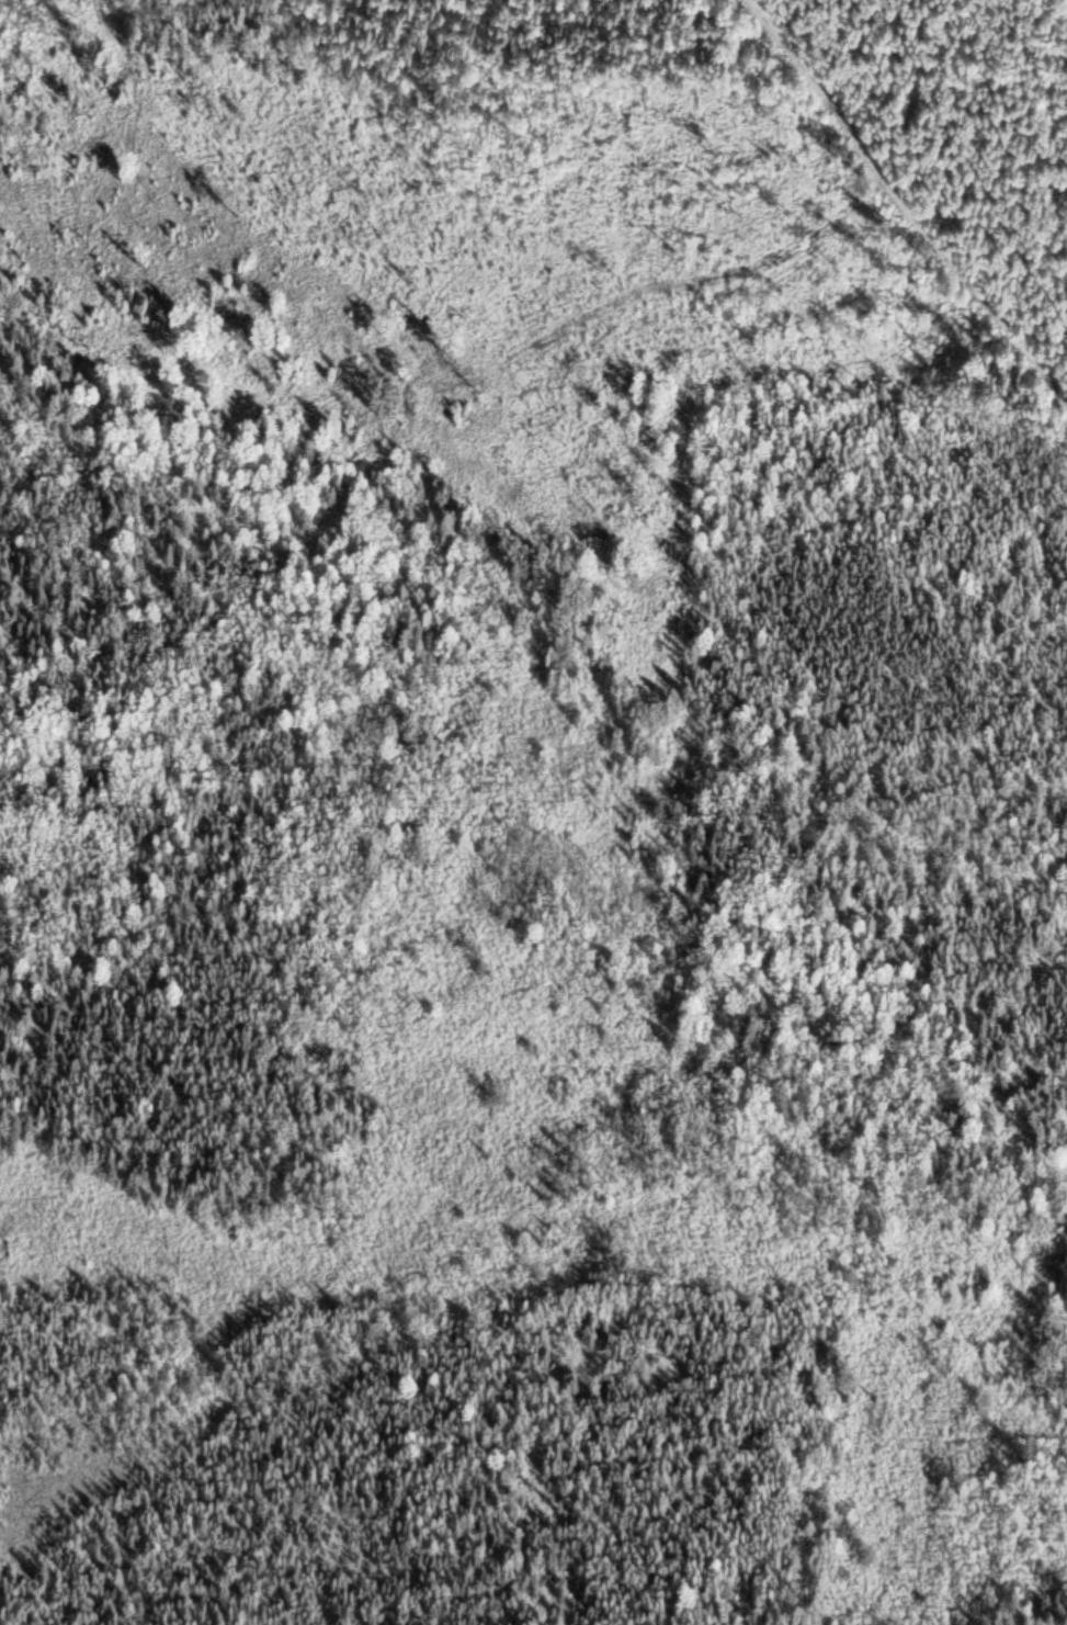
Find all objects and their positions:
road: (933, 177)

